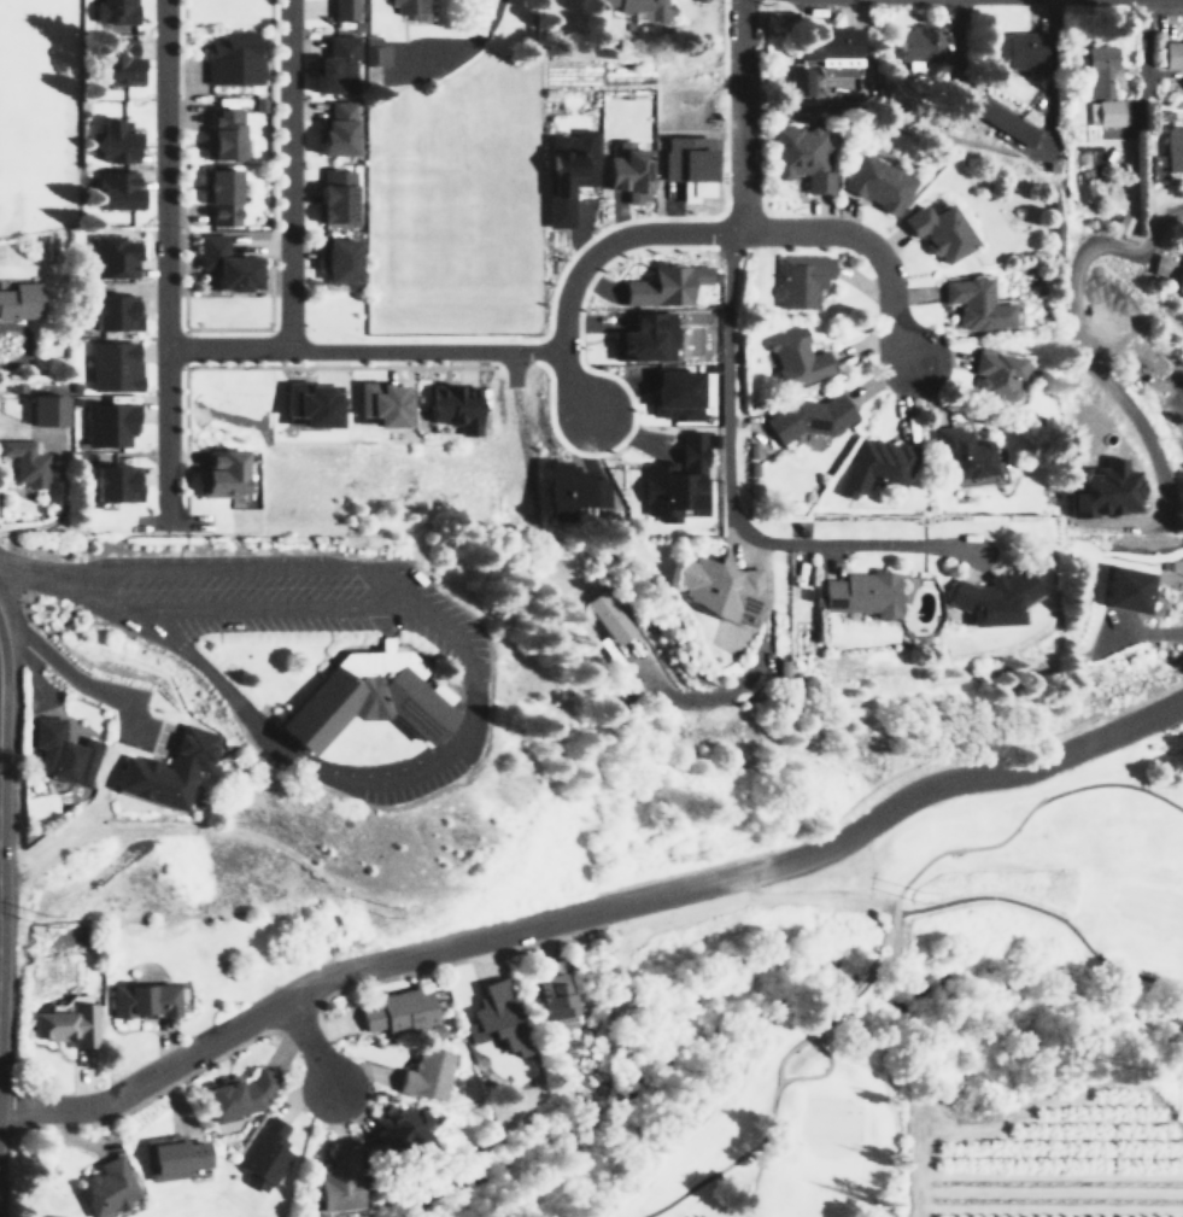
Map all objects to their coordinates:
building: (701, 0)
building: (409, 5)
building: (637, 7)
building: (342, 8)
building: (113, 11)
building: (920, 42)
building: (828, 45)
building: (1017, 48)
building: (374, 49)
road: (463, 49)
building: (1173, 53)
building: (232, 58)
building: (113, 59)
building: (333, 64)
building: (1099, 69)
building: (798, 80)
building: (1105, 111)
park: (27, 113)
building: (1006, 121)
building: (334, 128)
building: (223, 133)
building: (112, 140)
building: (1172, 147)
building: (801, 154)
building: (685, 163)
building: (625, 169)
building: (564, 171)
road: (288, 172)
building: (875, 181)
building: (115, 188)
building: (334, 194)
building: (221, 195)
building: (936, 229)
road: (866, 245)
building: (110, 256)
road: (165, 259)
building: (339, 262)
road: (586, 263)
building: (222, 264)
building: (1170, 270)
building: (801, 280)
building: (663, 283)
building: (19, 299)
building: (974, 303)
building: (112, 310)
building: (645, 335)
road: (363, 350)
building: (796, 357)
building: (113, 365)
road: (1084, 367)
road: (726, 370)
building: (996, 374)
road: (509, 381)
building: (673, 393)
building: (308, 403)
building: (379, 403)
building: (451, 405)
building: (46, 409)
building: (807, 416)
building: (107, 423)
building: (962, 451)
building: (25, 462)
building: (874, 463)
building: (218, 472)
building: (674, 479)
building: (112, 482)
building: (1101, 487)
building: (568, 491)
road: (187, 533)
road: (34, 574)
building: (718, 586)
building: (1124, 587)
building: (861, 592)
building: (990, 597)
road: (263, 605)
building: (609, 615)
road: (751, 666)
road: (33, 671)
road: (78, 684)
building: (364, 697)
road: (457, 718)
building: (60, 751)
building: (166, 770)
road: (994, 843)
road: (743, 872)
road: (1047, 912)
park: (818, 940)
road: (857, 985)
building: (142, 1000)
building: (554, 1001)
building: (397, 1012)
building: (497, 1018)
building: (66, 1022)
road: (308, 1045)
road: (784, 1049)
building: (424, 1073)
road: (148, 1077)
road: (778, 1079)
building: (238, 1094)
building: (400, 1127)
building: (264, 1154)
building: (171, 1157)
road: (701, 1180)
building: (338, 1181)
building: (105, 1187)
park: (192, 1207)

